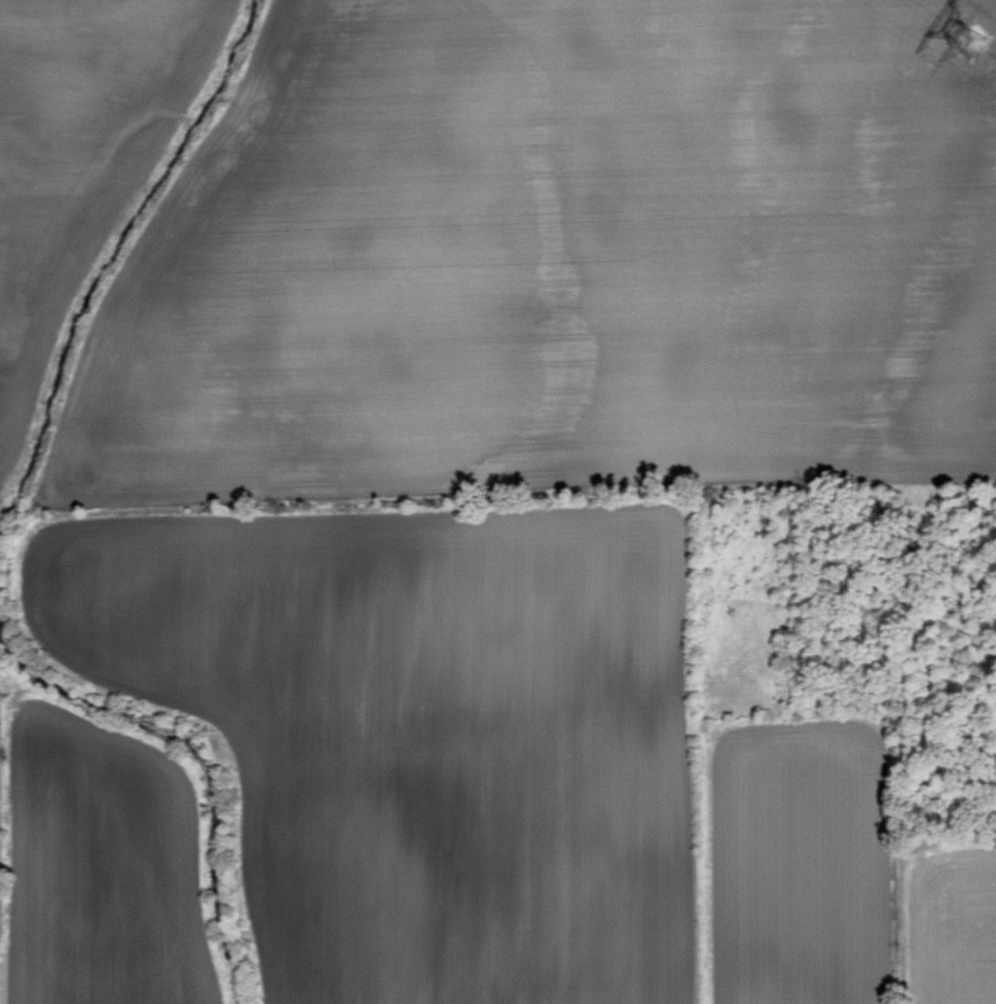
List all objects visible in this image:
power tower: (955, 43)

